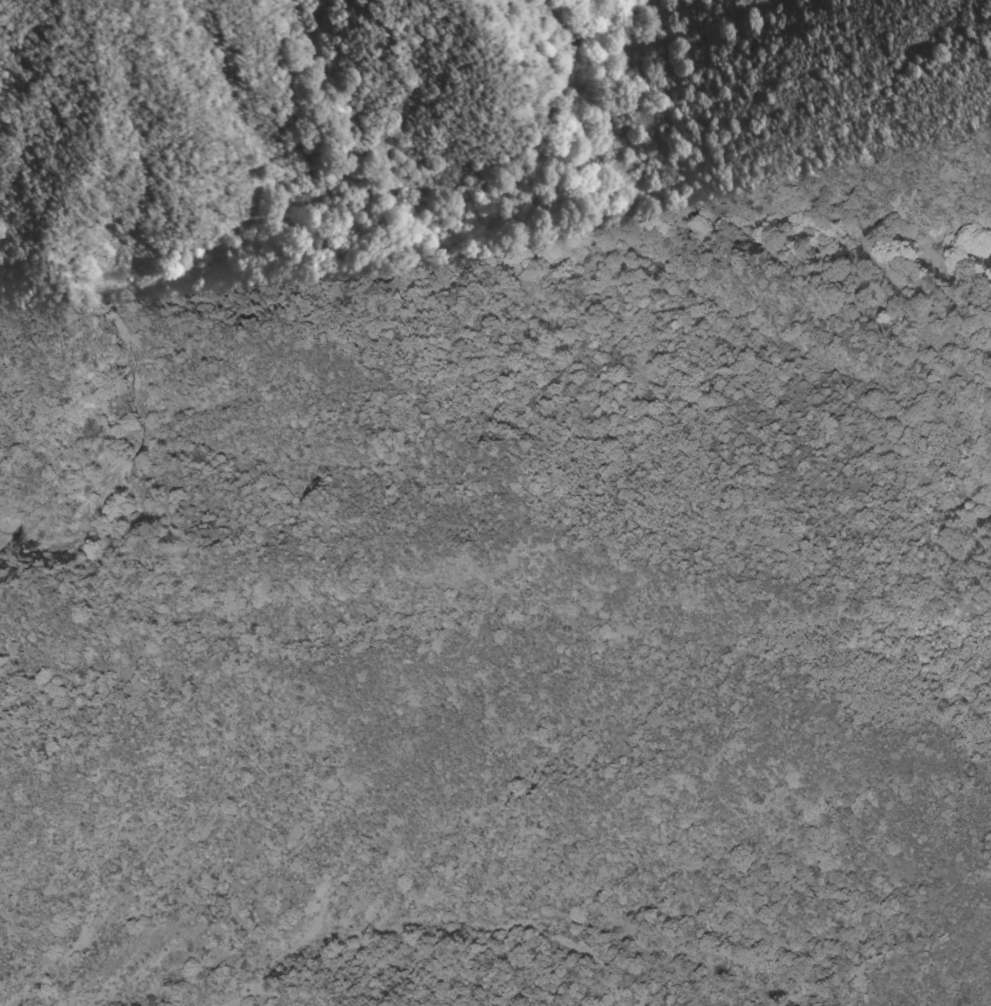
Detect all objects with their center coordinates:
road: (734, 710)
road: (17, 750)

